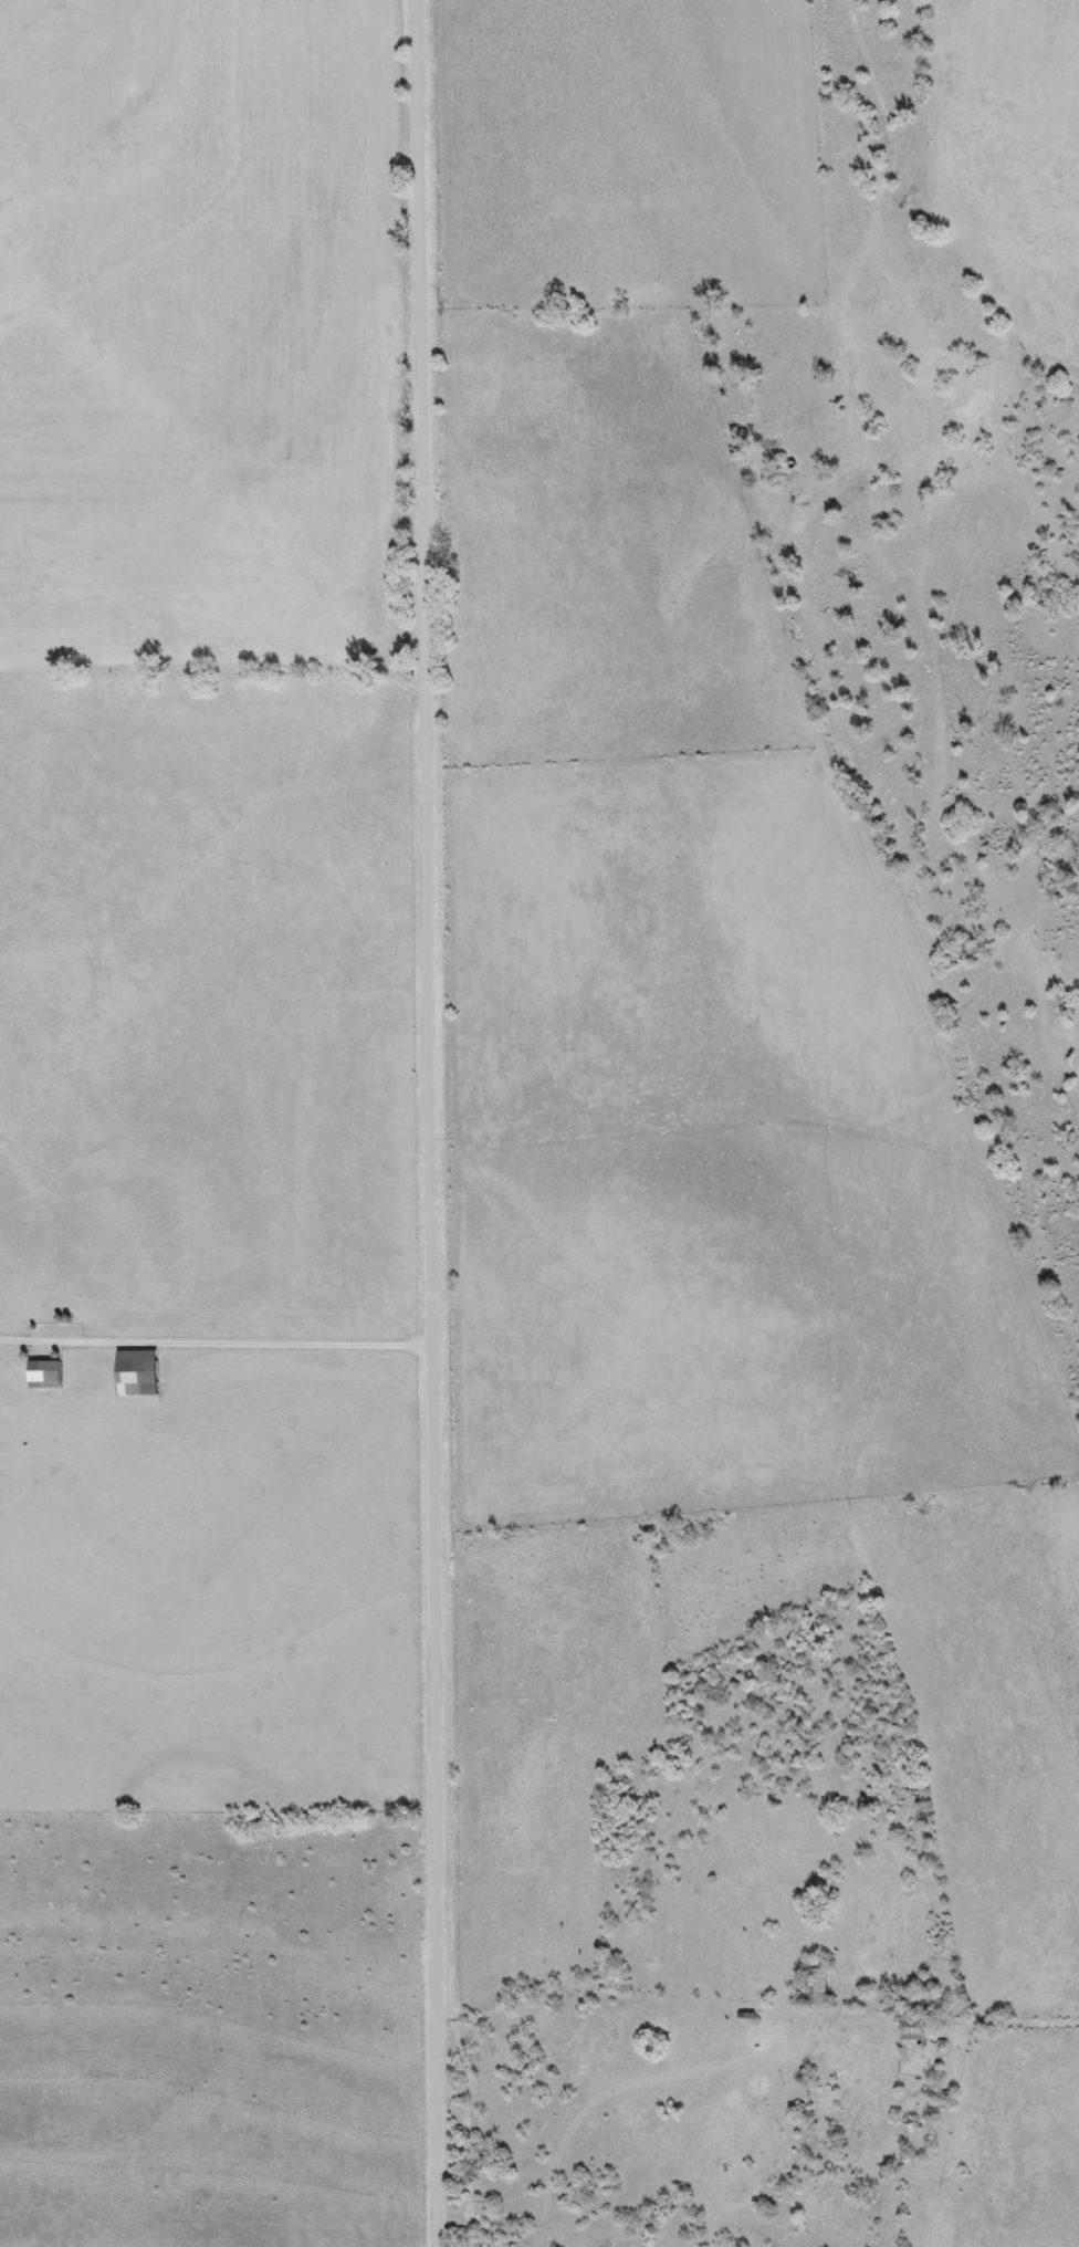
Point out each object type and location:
road: (426, 1123)
road: (213, 1340)
building: (138, 1373)
building: (45, 1376)
building: (817, 1988)
building: (748, 2021)
building: (912, 2029)

